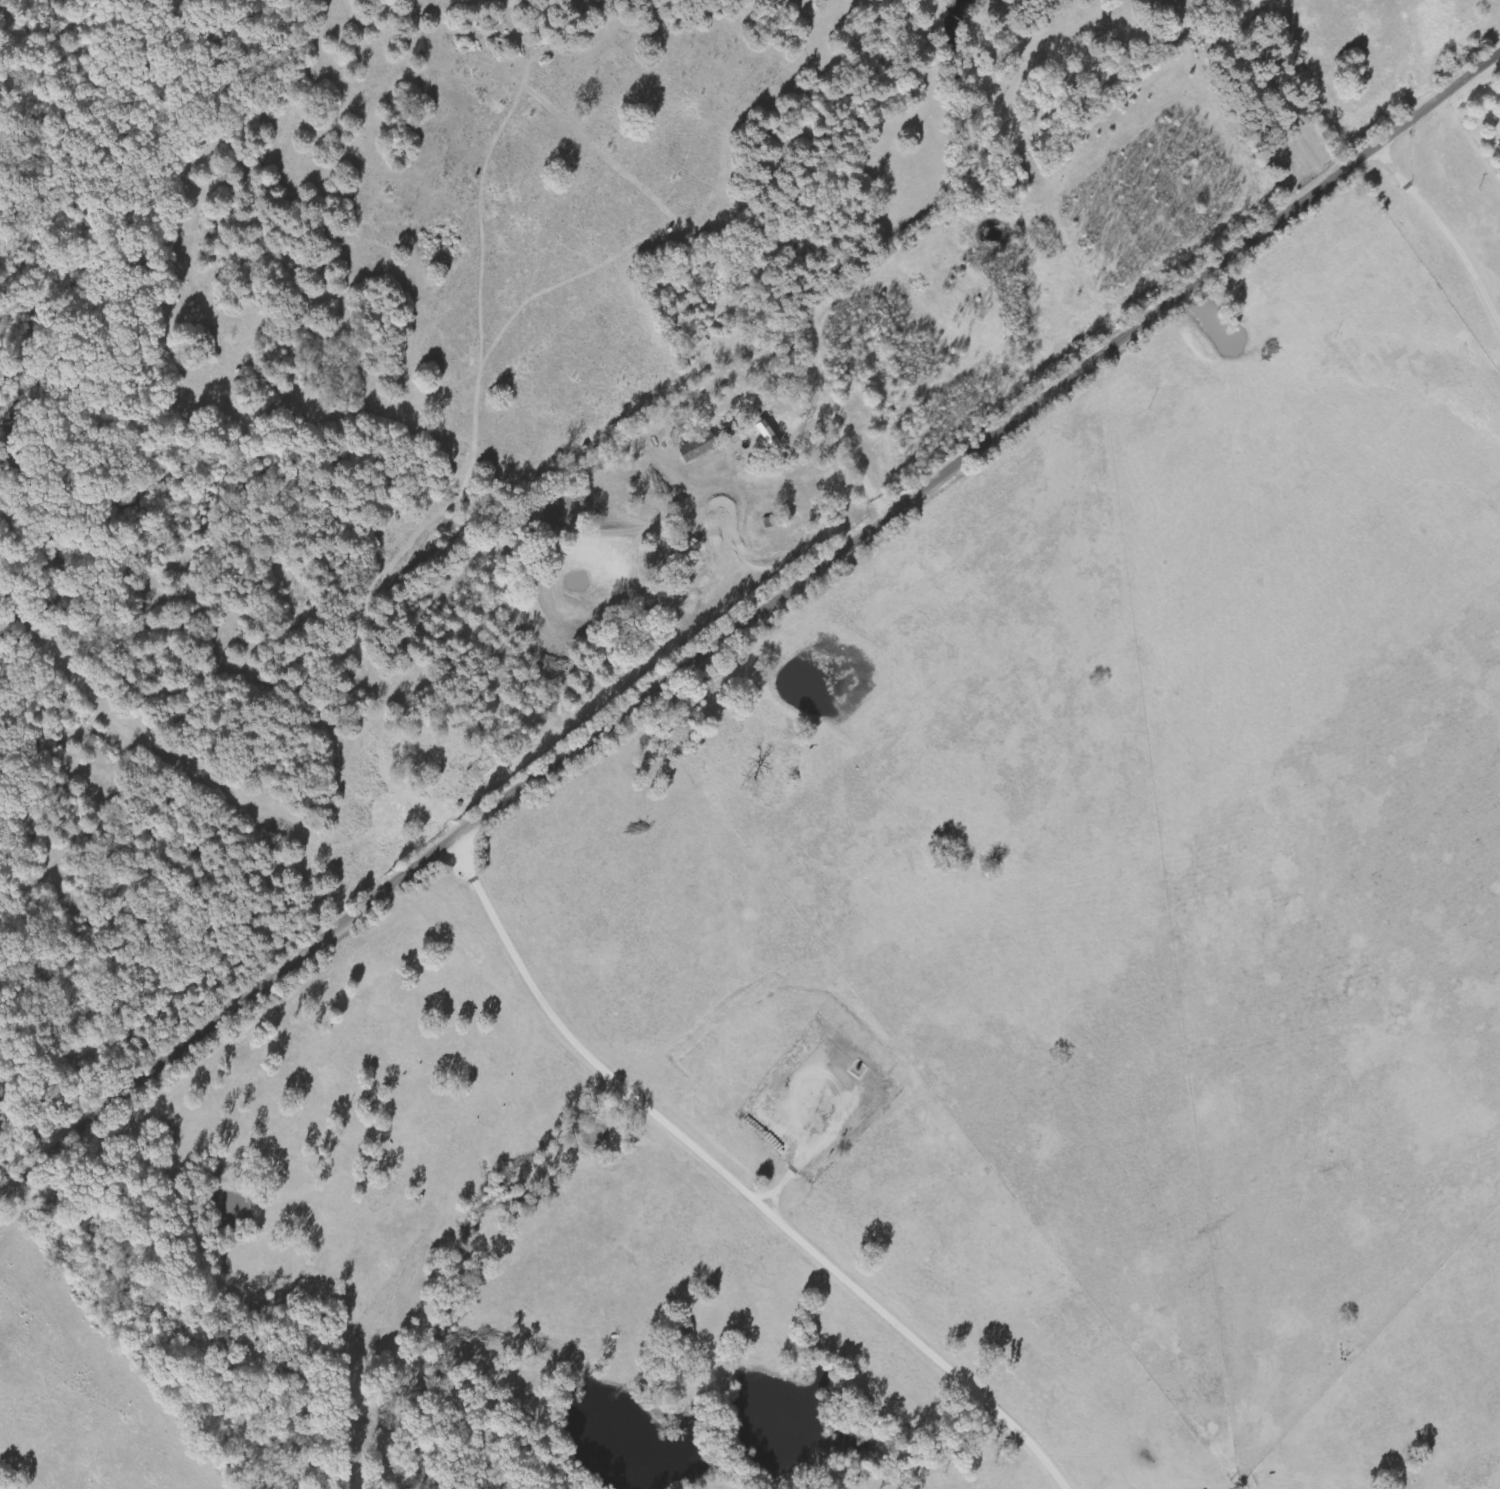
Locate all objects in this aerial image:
park: (1213, 21)
building: (1498, 147)
road: (798, 229)
road: (1419, 255)
building: (701, 450)
road: (747, 625)
road: (711, 1185)

